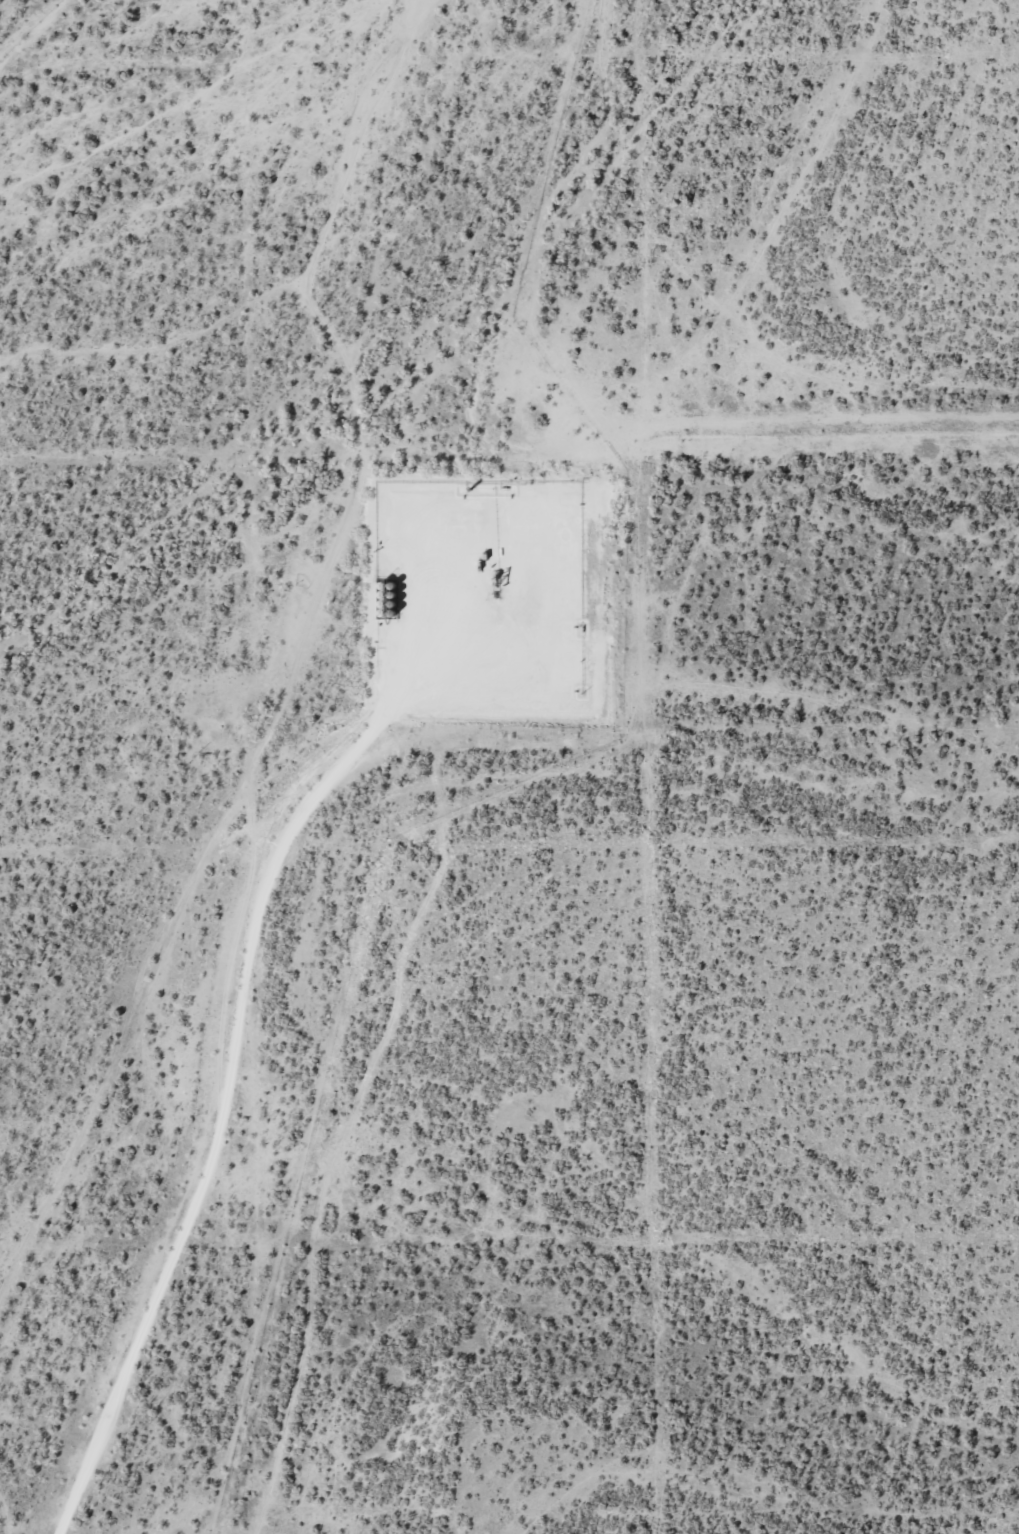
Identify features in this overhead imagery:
road: (280, 619)

